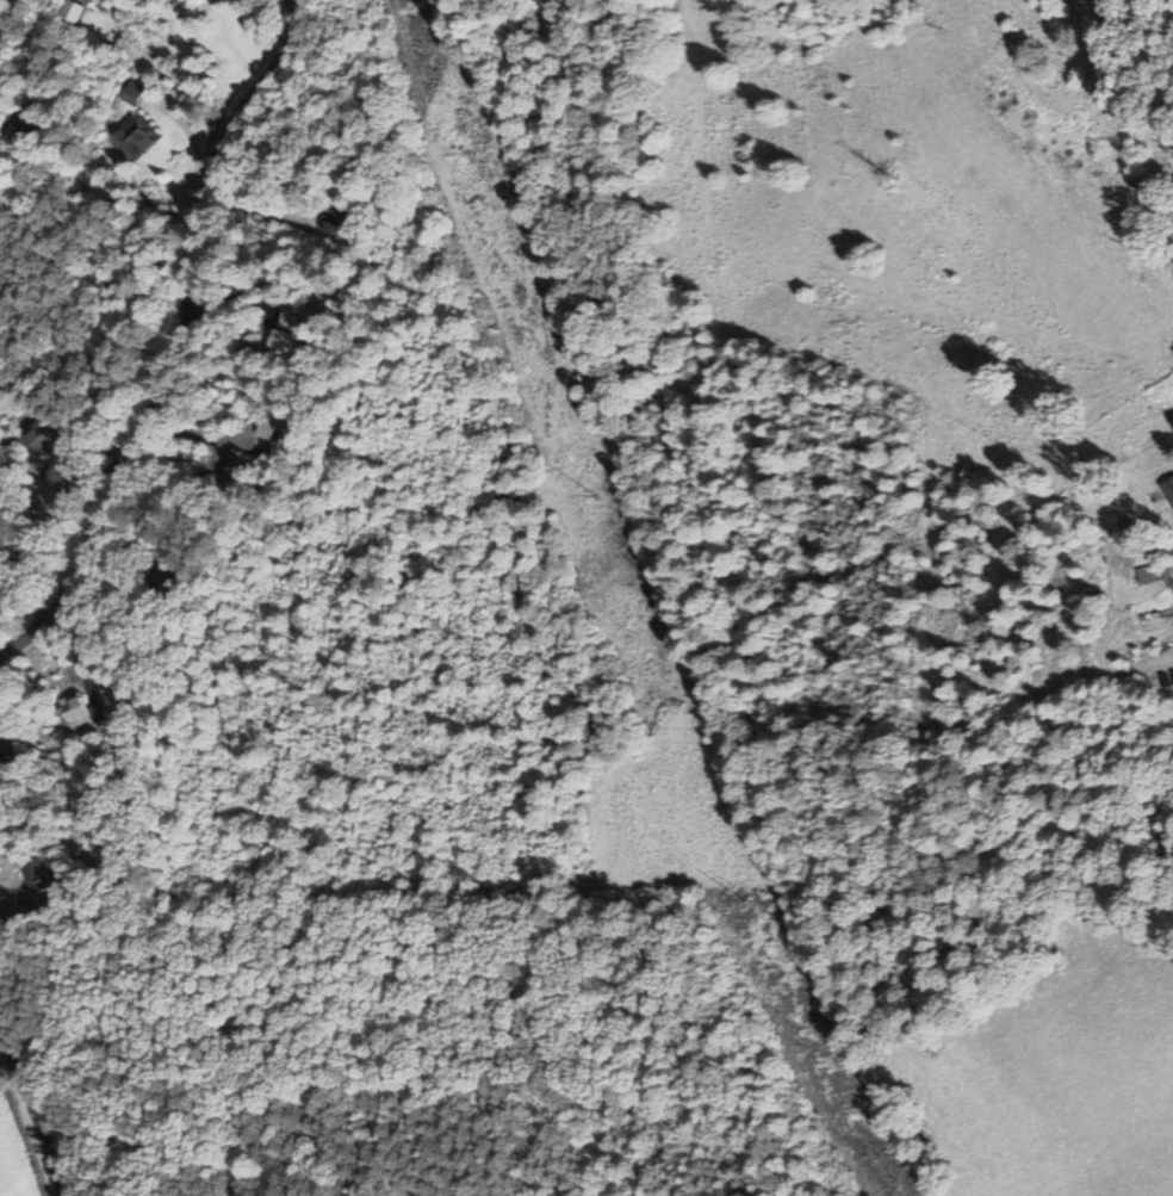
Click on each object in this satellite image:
building: (217, 1)
road: (10, 19)
building: (132, 136)
power tower: (466, 151)
building: (335, 222)
building: (284, 333)
road: (188, 346)
building: (1168, 489)
power tower: (595, 497)
building: (1152, 572)
building: (73, 709)
building: (0, 761)
building: (43, 879)
power tower: (747, 899)
road: (35, 1109)

